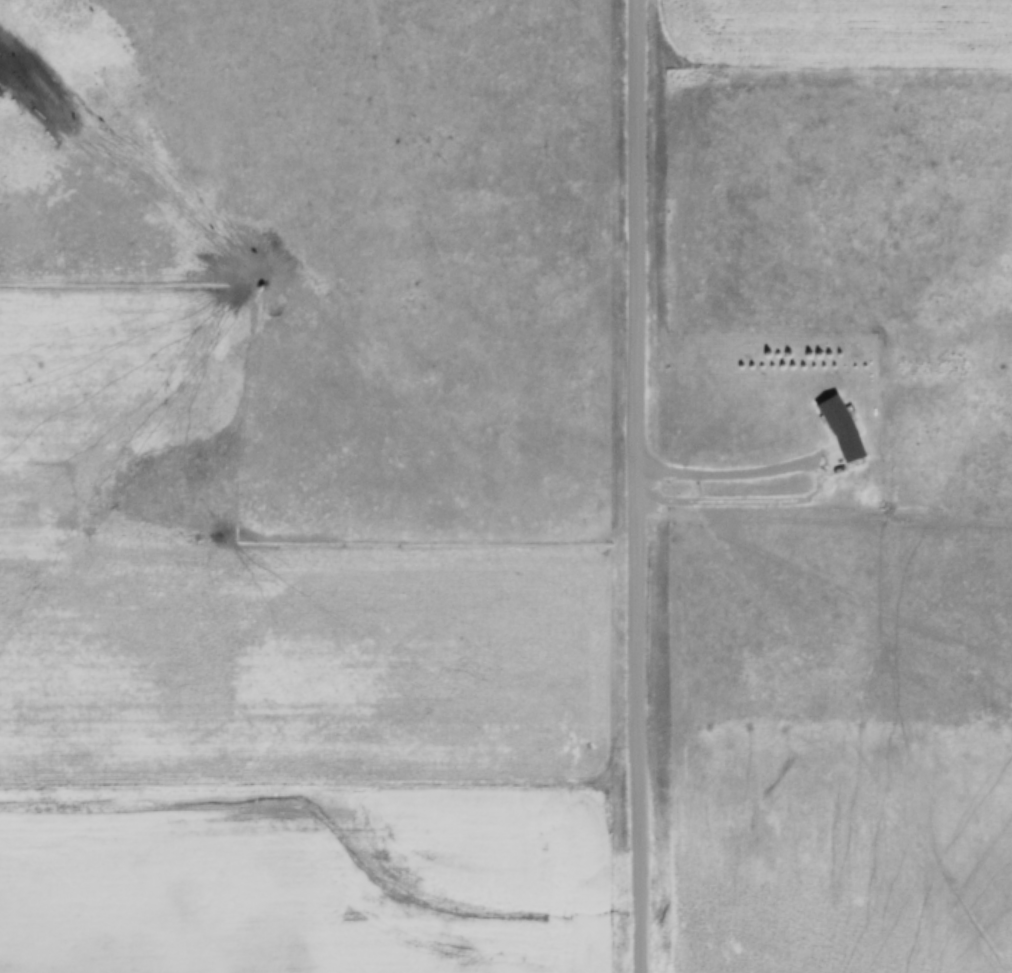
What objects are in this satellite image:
building: (832, 414)
road: (641, 486)

